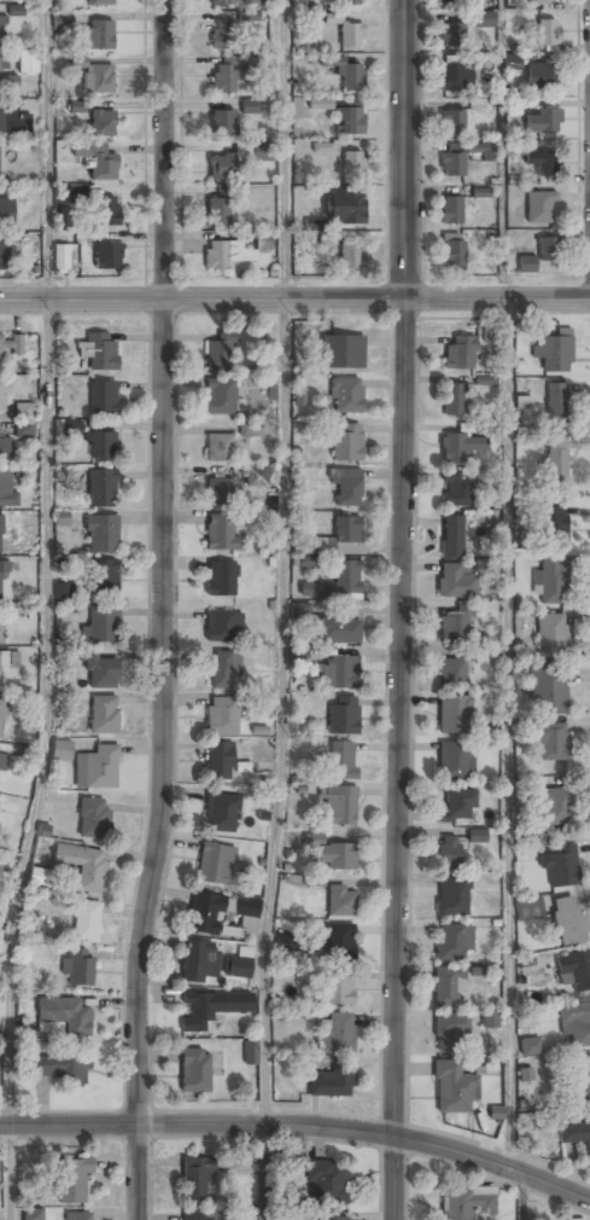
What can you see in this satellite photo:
building: (100, 2)
building: (232, 2)
building: (350, 2)
building: (450, 2)
building: (541, 2)
building: (16, 10)
building: (247, 16)
building: (62, 21)
building: (484, 21)
building: (1, 30)
building: (547, 33)
building: (97, 34)
building: (451, 35)
building: (227, 36)
building: (350, 36)
building: (28, 62)
building: (512, 62)
building: (226, 75)
building: (541, 76)
building: (5, 77)
building: (98, 79)
building: (350, 79)
building: (455, 79)
building: (320, 104)
building: (250, 106)
building: (349, 120)
building: (12, 121)
building: (542, 122)
building: (100, 123)
building: (221, 123)
building: (450, 123)
building: (483, 150)
road: (503, 150)
building: (261, 151)
building: (97, 159)
building: (451, 162)
building: (542, 163)
building: (351, 165)
building: (220, 168)
building: (77, 198)
building: (538, 208)
building: (345, 209)
building: (105, 211)
building: (450, 211)
building: (5, 213)
building: (216, 214)
building: (62, 216)
building: (262, 242)
building: (326, 242)
building: (547, 250)
building: (2, 254)
building: (224, 255)
building: (105, 256)
building: (451, 256)
building: (350, 257)
building: (58, 260)
building: (525, 266)
road: (294, 301)
building: (487, 332)
building: (10, 343)
building: (98, 350)
building: (341, 353)
building: (220, 354)
building: (458, 354)
building: (551, 354)
building: (485, 379)
building: (2, 396)
building: (299, 396)
building: (344, 396)
building: (220, 397)
building: (103, 399)
building: (454, 401)
building: (556, 406)
building: (24, 419)
building: (71, 428)
building: (251, 430)
building: (346, 445)
building: (100, 446)
building: (460, 448)
building: (218, 449)
building: (4, 452)
building: (556, 463)
building: (256, 477)
building: (345, 488)
building: (6, 489)
building: (100, 489)
building: (218, 492)
building: (455, 492)
building: (551, 527)
building: (346, 530)
building: (220, 533)
building: (0, 535)
building: (101, 535)
building: (451, 538)
building: (325, 546)
building: (309, 562)
building: (4, 569)
building: (221, 579)
building: (104, 580)
building: (551, 581)
building: (334, 583)
building: (454, 583)
building: (63, 591)
building: (21, 608)
road: (282, 610)
road: (402, 610)
road: (45, 611)
road: (168, 611)
building: (0, 626)
building: (100, 626)
building: (456, 626)
building: (222, 628)
building: (338, 633)
building: (551, 637)
building: (4, 658)
building: (0, 670)
building: (222, 670)
building: (99, 673)
building: (452, 673)
building: (338, 674)
building: (548, 691)
building: (103, 714)
building: (343, 715)
building: (454, 715)
building: (0, 718)
building: (221, 718)
road: (508, 739)
building: (551, 743)
building: (60, 751)
building: (2, 761)
building: (341, 761)
building: (455, 761)
building: (217, 762)
building: (97, 768)
building: (458, 803)
building: (339, 807)
building: (555, 807)
building: (220, 814)
building: (92, 820)
building: (477, 836)
building: (446, 853)
building: (337, 856)
building: (215, 865)
building: (561, 866)
building: (81, 867)
building: (37, 876)
building: (314, 881)
building: (452, 897)
building: (339, 902)
building: (246, 906)
building: (528, 908)
building: (205, 914)
building: (568, 922)
building: (86, 923)
building: (287, 942)
building: (337, 942)
building: (449, 943)
building: (199, 962)
building: (77, 968)
building: (574, 971)
building: (338, 988)
building: (446, 988)
building: (210, 1009)
building: (64, 1016)
building: (490, 1019)
building: (574, 1024)
building: (449, 1032)
building: (335, 1034)
building: (528, 1047)
building: (58, 1068)
building: (193, 1071)
building: (526, 1077)
building: (580, 1080)
building: (329, 1084)
building: (452, 1090)
road: (299, 1133)
building: (576, 1137)
building: (195, 1181)
building: (327, 1181)
building: (72, 1183)
road: (524, 1199)
building: (466, 1206)
building: (33, 1214)
building: (77, 1216)
building: (198, 1216)
building: (331, 1219)

